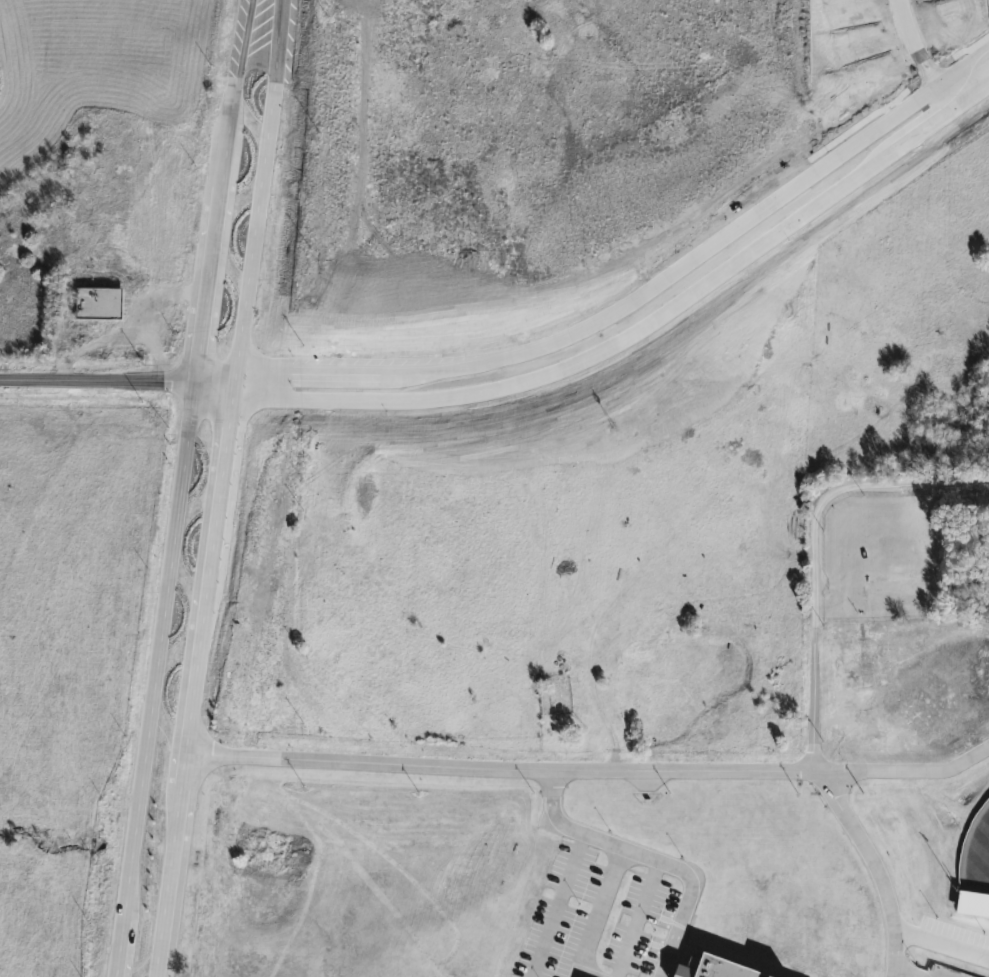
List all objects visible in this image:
road: (273, 40)
road: (238, 44)
road: (915, 57)
road: (250, 231)
road: (659, 281)
building: (100, 303)
road: (659, 314)
road: (115, 380)
road: (254, 382)
road: (170, 532)
road: (815, 547)
road: (192, 679)
building: (558, 681)
road: (498, 768)
road: (904, 774)
road: (565, 823)
road: (875, 865)
road: (685, 891)
road: (556, 904)
road: (597, 910)
road: (941, 943)
building: (718, 967)
road: (578, 975)

